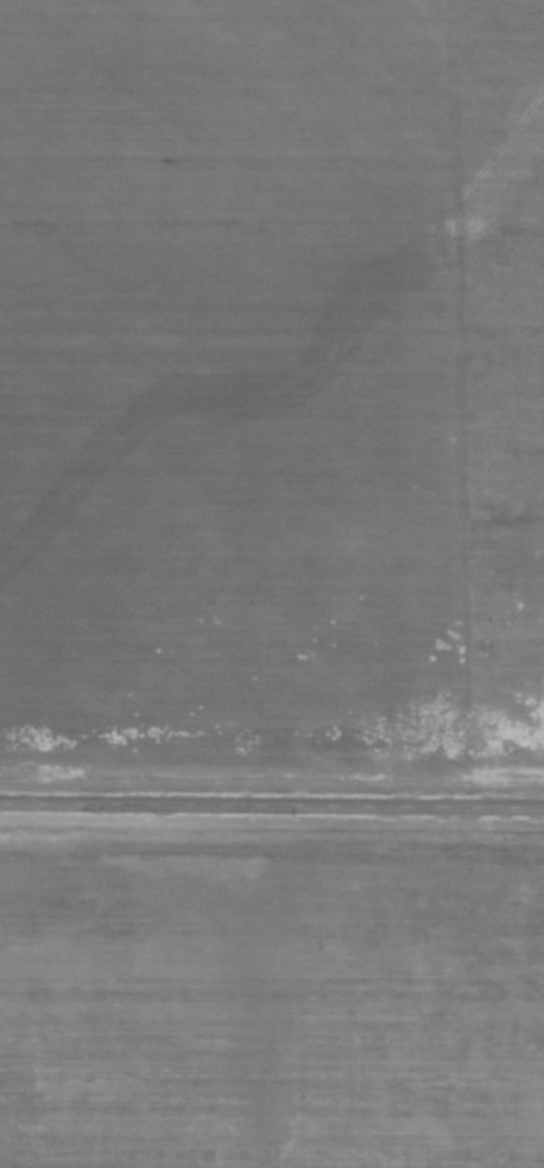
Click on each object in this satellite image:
road: (272, 803)

